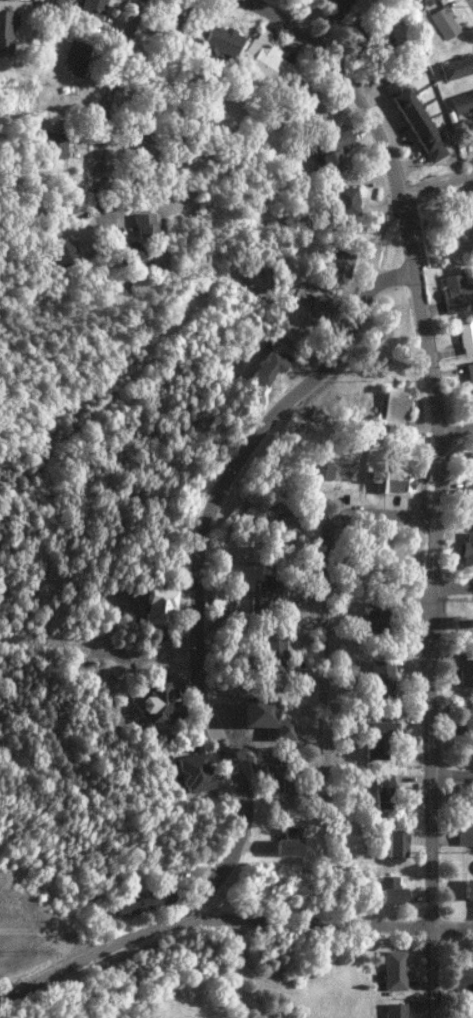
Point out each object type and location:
building: (55, 3)
building: (336, 7)
building: (93, 9)
building: (443, 22)
building: (6, 32)
building: (378, 38)
building: (219, 45)
building: (76, 59)
building: (264, 61)
building: (455, 67)
building: (461, 102)
road: (106, 105)
building: (306, 105)
building: (413, 120)
building: (53, 145)
building: (333, 151)
building: (146, 152)
road: (437, 184)
building: (346, 202)
building: (146, 224)
building: (64, 250)
building: (131, 251)
building: (342, 262)
building: (457, 293)
building: (319, 308)
building: (466, 336)
building: (268, 367)
building: (470, 373)
building: (394, 407)
road: (459, 431)
building: (341, 468)
road: (446, 472)
building: (471, 476)
building: (394, 481)
building: (285, 529)
road: (204, 530)
building: (468, 551)
road: (454, 589)
building: (264, 592)
building: (217, 603)
building: (159, 605)
road: (330, 613)
water tower: (454, 622)
building: (273, 653)
building: (466, 669)
building: (383, 678)
building: (161, 705)
building: (262, 711)
building: (469, 724)
building: (380, 738)
building: (195, 772)
road: (453, 774)
building: (281, 776)
building: (384, 790)
building: (466, 834)
building: (290, 840)
building: (397, 843)
building: (470, 888)
building: (392, 890)
building: (150, 900)
road: (211, 923)
road: (455, 927)
building: (396, 969)
building: (464, 979)
building: (397, 1010)

